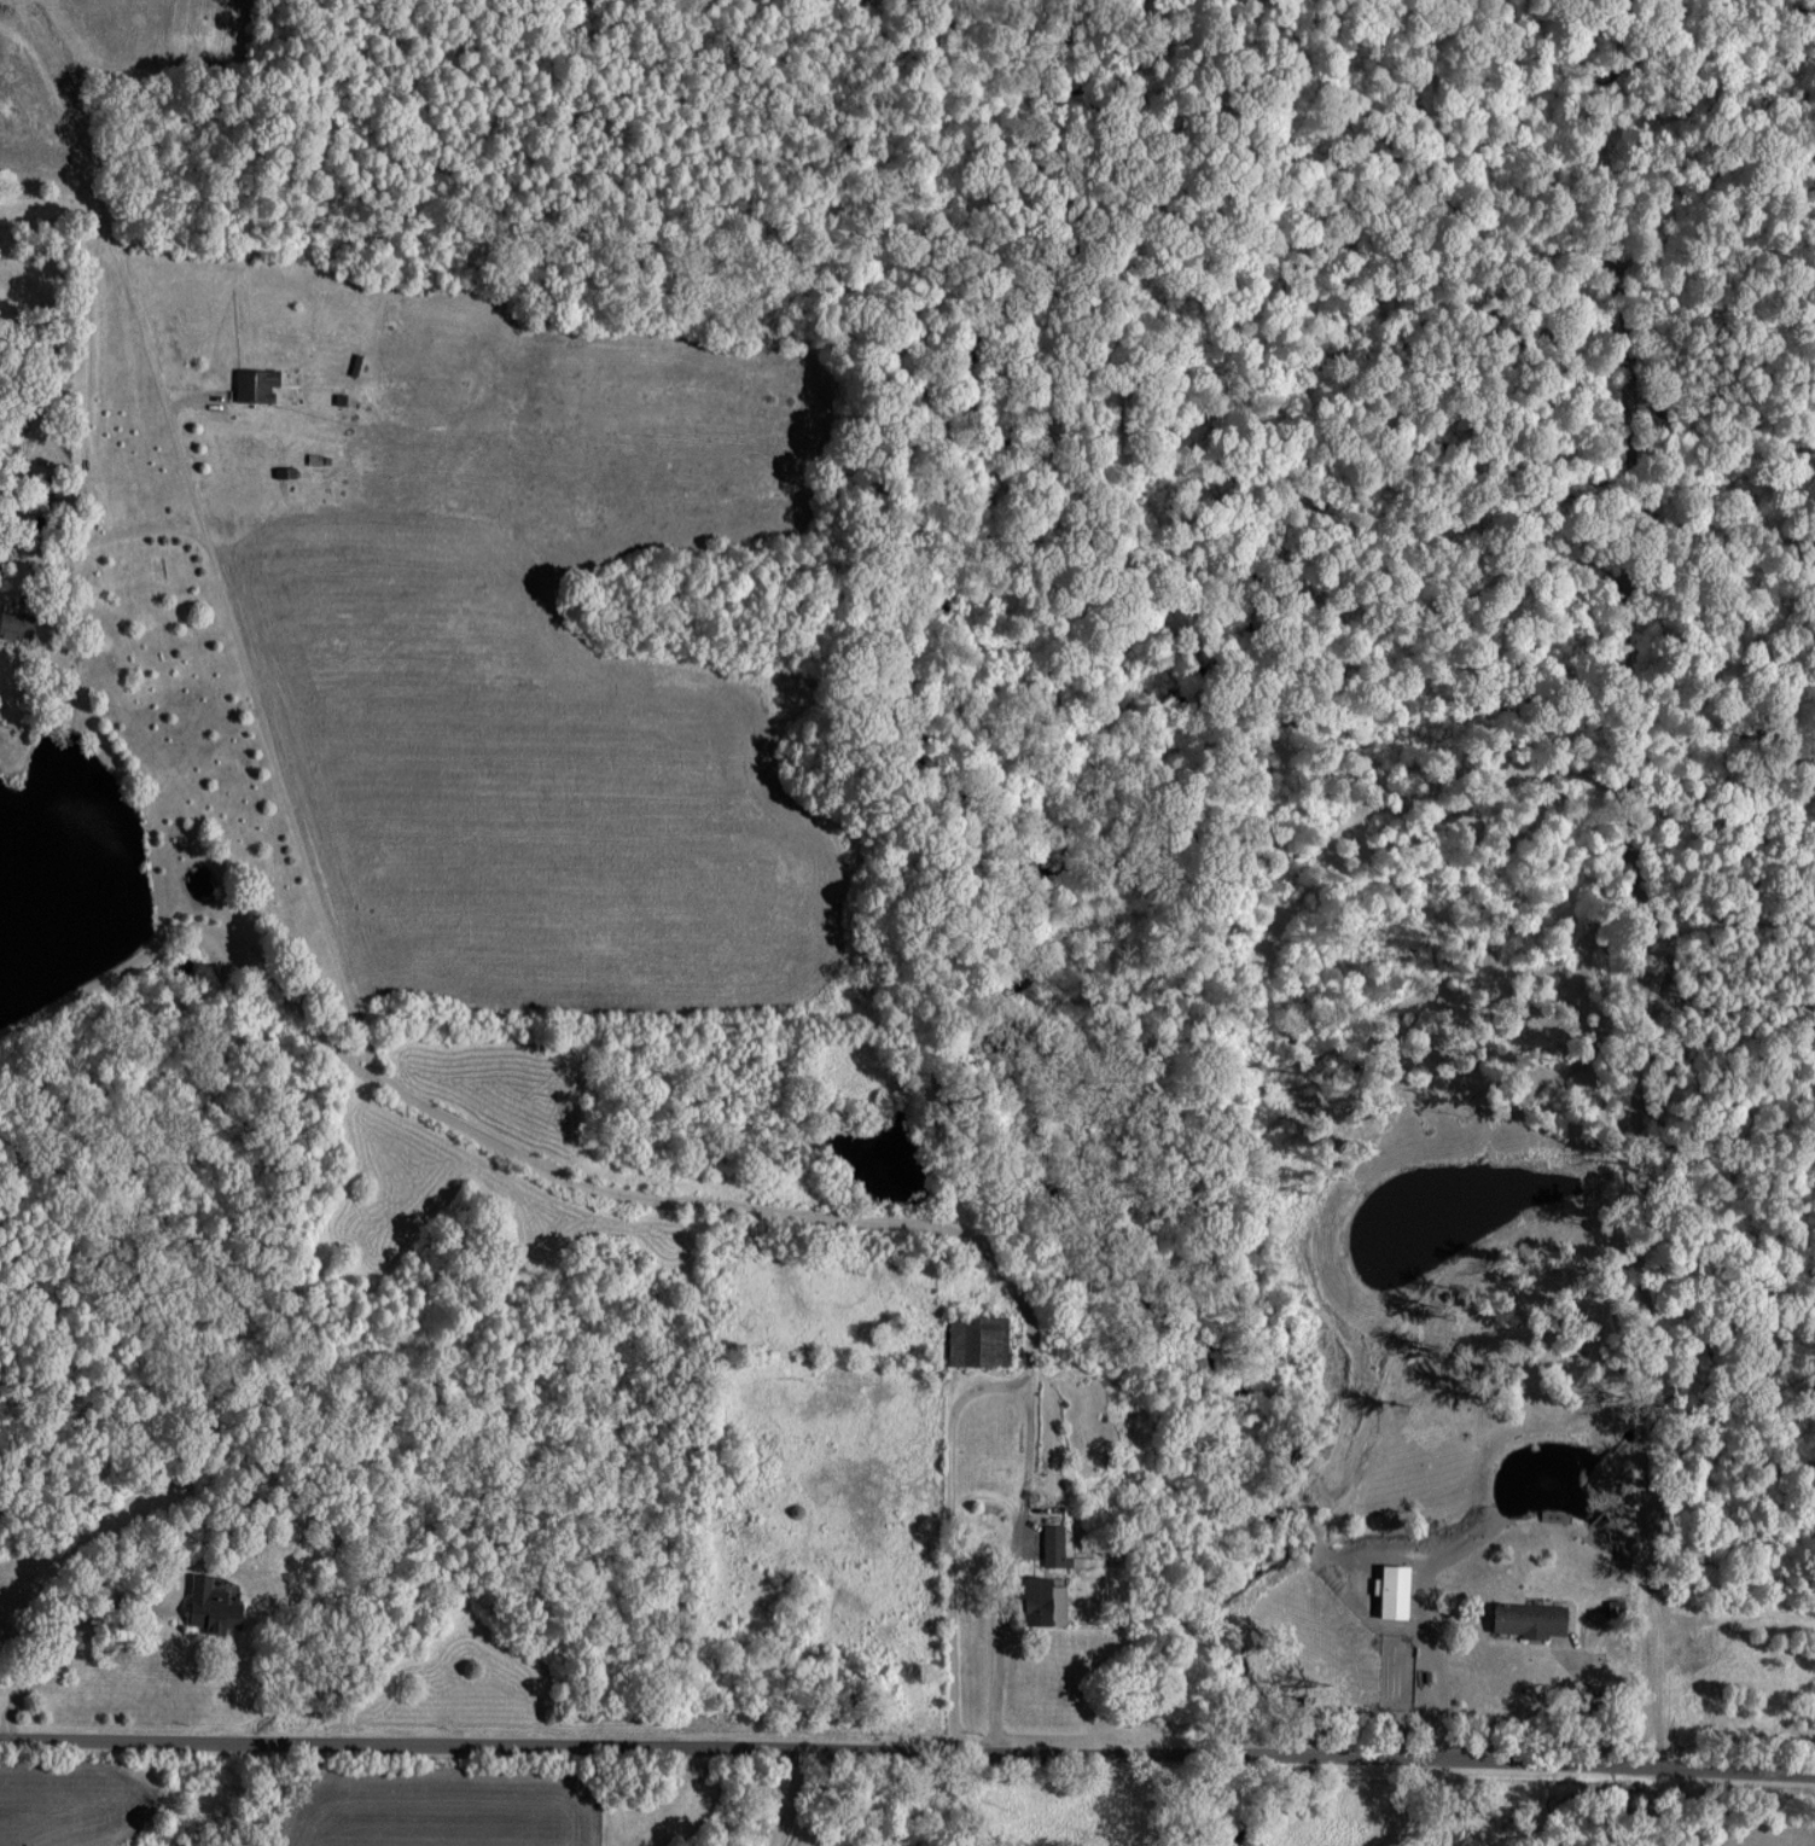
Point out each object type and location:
building: (16, 624)
building: (978, 1339)
building: (1054, 1545)
building: (1394, 1589)
building: (1043, 1600)
building: (213, 1606)
building: (1531, 1618)
road: (63, 1643)
road: (907, 1747)
road: (787, 1796)

